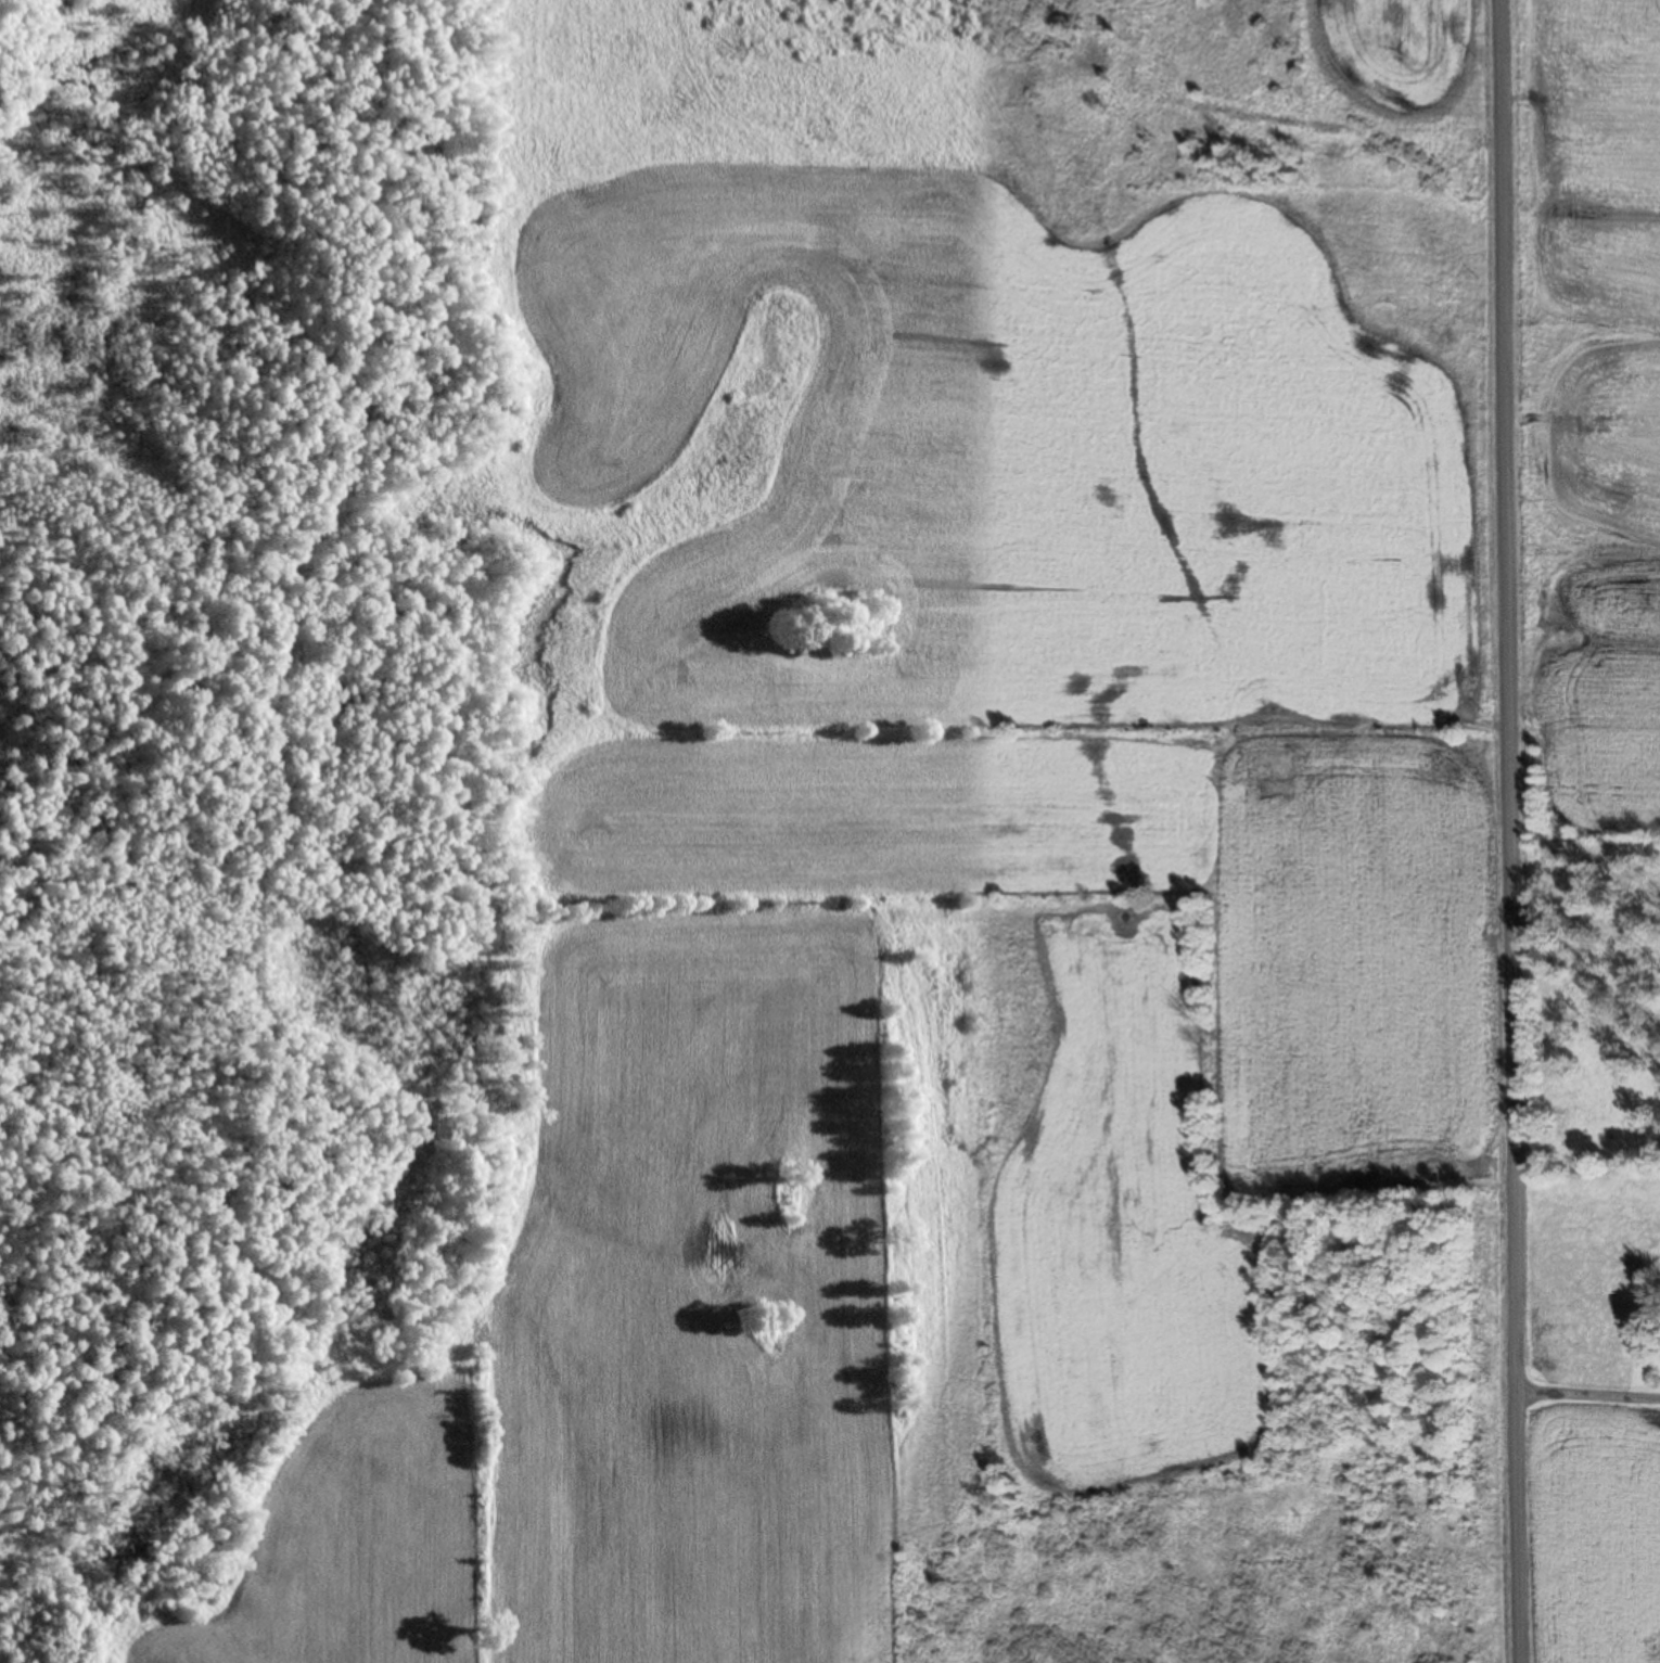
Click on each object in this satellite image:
road: (1528, 831)

